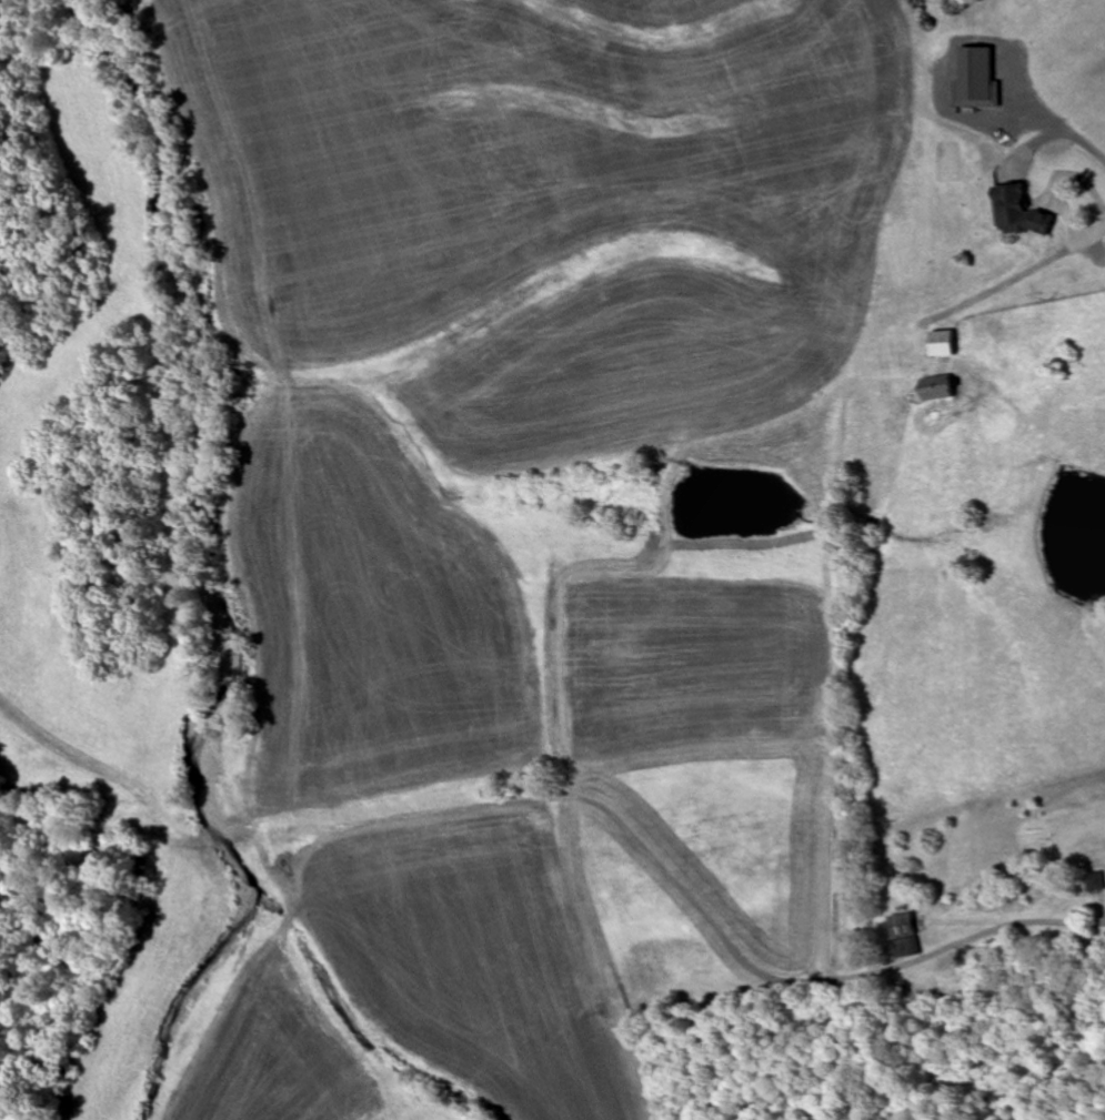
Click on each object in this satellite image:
building: (943, 343)
building: (938, 387)
building: (1093, 882)
building: (903, 935)

